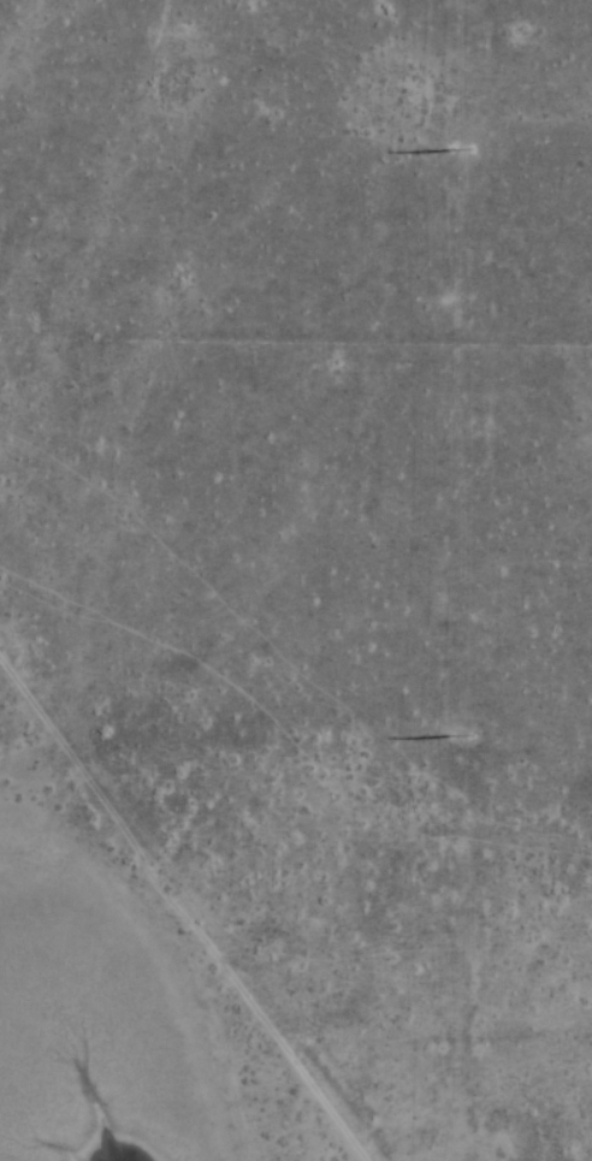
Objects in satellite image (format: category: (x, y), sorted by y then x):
power tower: (461, 149)
power tower: (462, 736)
road: (295, 1037)

